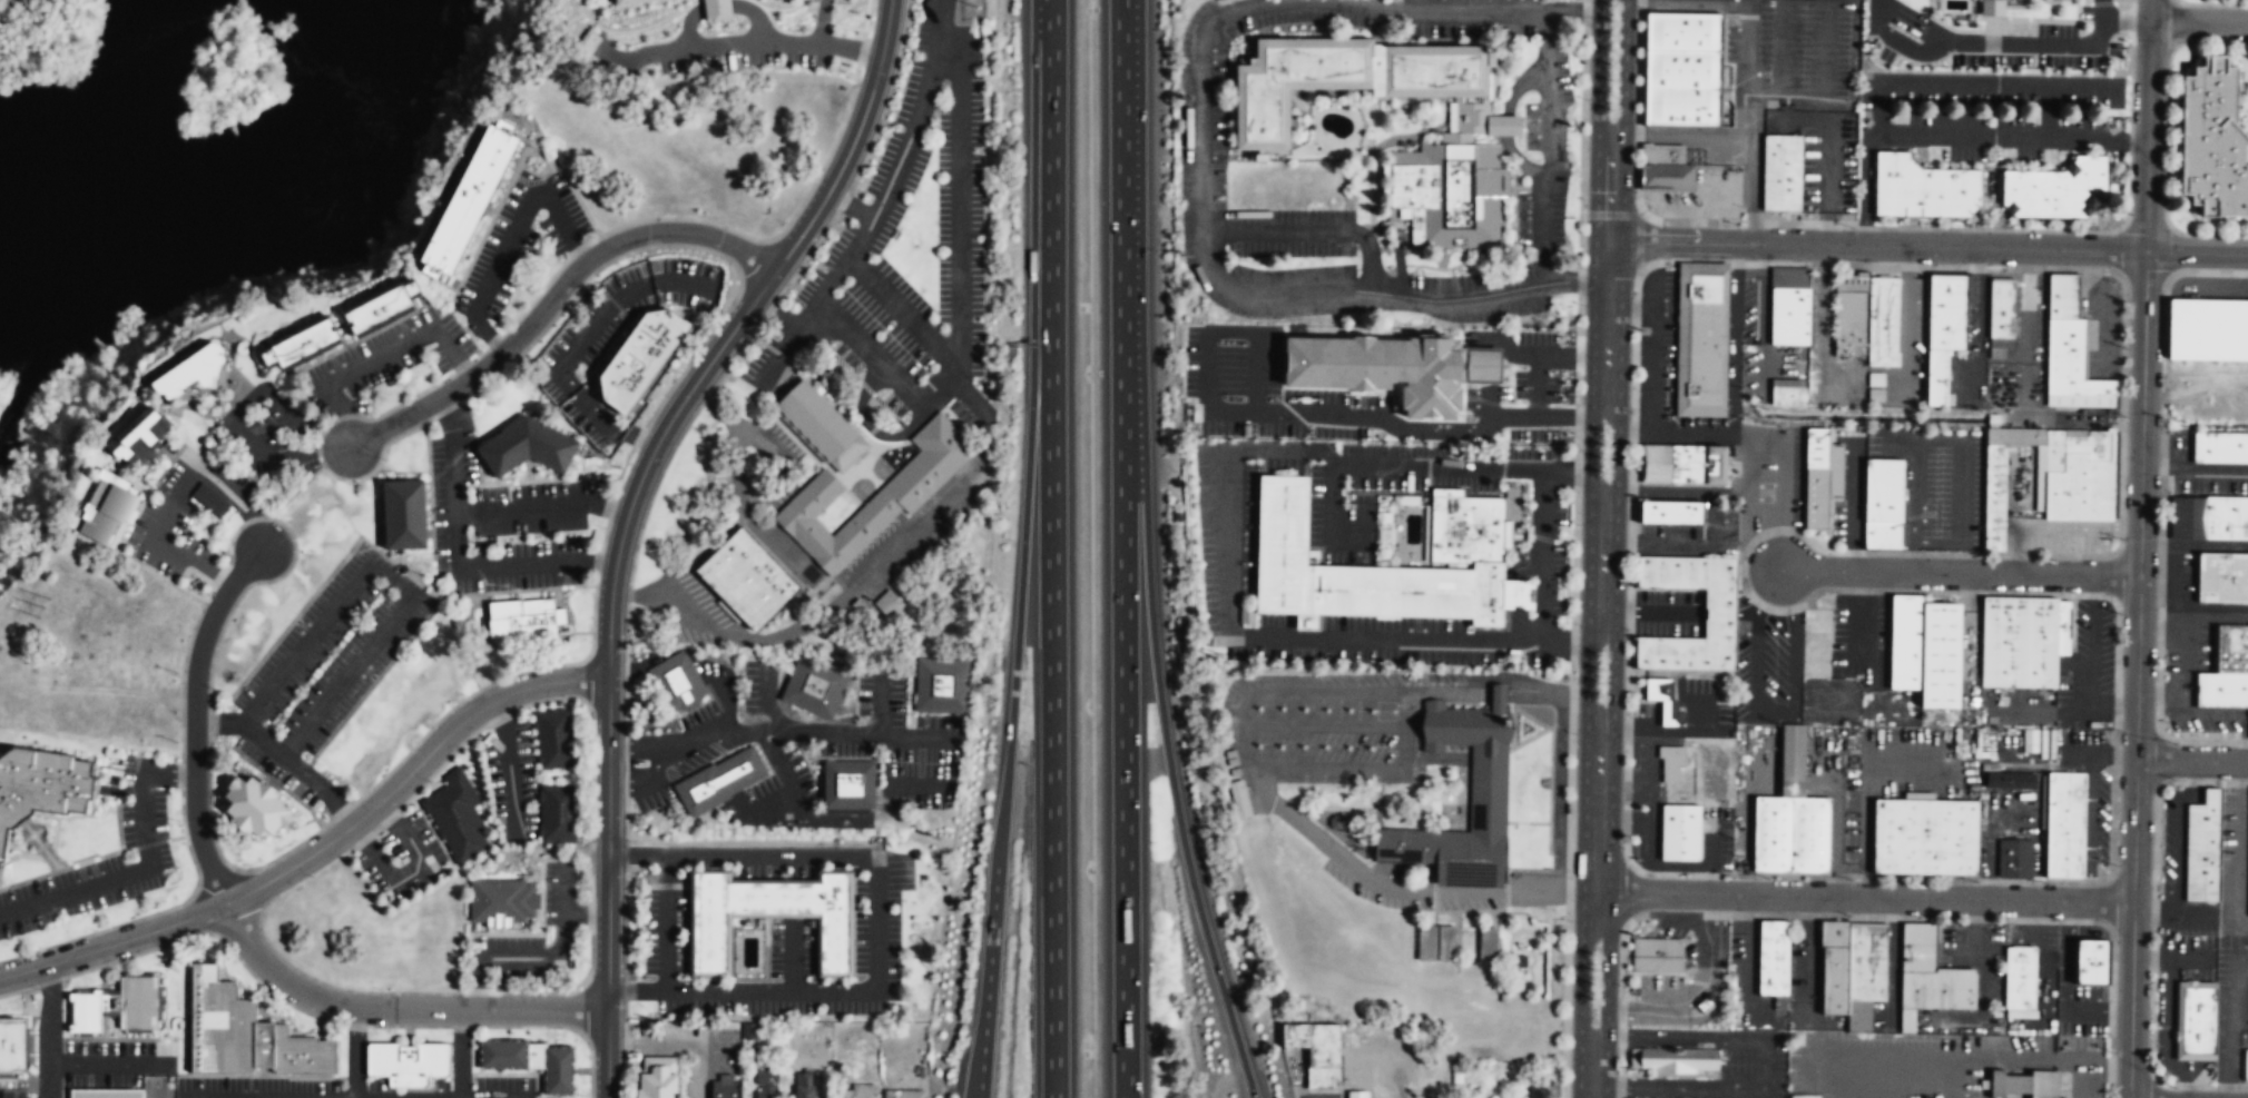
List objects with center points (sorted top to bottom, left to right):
building: (2059, 0)
building: (628, 1)
road: (1689, 3)
road: (2213, 3)
road: (1470, 8)
building: (1992, 8)
building: (715, 10)
road: (2150, 11)
road: (2127, 21)
road: (822, 23)
road: (2199, 23)
building: (1685, 32)
parking lot: (1984, 40)
road: (738, 44)
road: (1993, 44)
road: (2216, 48)
road: (1748, 49)
parking lot: (1786, 50)
building: (1683, 69)
road: (1824, 69)
road: (1596, 70)
road: (1622, 70)
road: (1964, 82)
road: (2083, 86)
road: (1581, 106)
building: (1682, 107)
road: (1745, 118)
road: (1799, 119)
road: (1951, 135)
road: (2148, 137)
road: (2167, 138)
building: (1262, 142)
building: (2211, 142)
building: (1662, 154)
parking lot: (1822, 155)
road: (1828, 166)
building: (1781, 172)
road: (733, 174)
building: (1668, 177)
building: (1925, 189)
road: (1748, 190)
building: (2055, 190)
street lamp: (1636, 192)
parking lot: (1701, 195)
road: (884, 197)
building: (469, 199)
road: (851, 206)
street lamp: (2169, 206)
river: (257, 207)
road: (1827, 228)
street lamp: (2107, 228)
road: (510, 236)
road: (1876, 246)
road: (2197, 253)
road: (1608, 275)
road: (1246, 291)
road: (552, 296)
building: (2061, 296)
street lamp: (2128, 301)
parking lot: (1755, 305)
road: (958, 306)
building: (382, 307)
road: (2026, 307)
building: (2000, 309)
road: (901, 313)
road: (1761, 313)
building: (1943, 313)
building: (1786, 316)
building: (1849, 317)
building: (1882, 322)
road: (1907, 323)
parking lot: (2100, 325)
road: (2099, 327)
building: (2207, 328)
road: (729, 334)
road: (1732, 338)
road: (1679, 340)
building: (1704, 340)
building: (304, 345)
road: (1652, 348)
parking lot: (1903, 354)
building: (639, 359)
road: (1771, 359)
building: (2069, 362)
building: (1382, 368)
parking lot: (1666, 368)
road: (2121, 373)
building: (186, 375)
building: (1934, 378)
building: (1786, 392)
street lamp: (1631, 412)
road: (2142, 414)
street lamp: (2161, 416)
road: (1678, 417)
building: (819, 427)
road: (1677, 428)
road: (1675, 432)
building: (137, 435)
building: (2013, 436)
road: (1757, 438)
road: (1962, 441)
building: (2220, 446)
building: (527, 447)
road: (1589, 454)
road: (1617, 454)
road: (781, 462)
road: (984, 463)
building: (1688, 463)
road: (2195, 474)
road: (1783, 475)
building: (2077, 475)
road: (738, 476)
building: (1818, 476)
parking lot: (1768, 478)
building: (2038, 479)
parking lot: (1934, 484)
parking lot: (1849, 488)
road: (295, 489)
road: (1745, 492)
road: (177, 494)
building: (873, 497)
road: (1853, 497)
building: (1992, 498)
building: (208, 501)
building: (1879, 504)
building: (1677, 511)
building: (107, 512)
road: (1327, 513)
building: (403, 514)
parking lot: (2041, 514)
road: (254, 517)
road: (269, 517)
building: (2185, 517)
building: (2224, 517)
road: (1677, 522)
road: (1711, 524)
building: (1467, 527)
road: (2054, 528)
road: (258, 532)
parking lot: (1692, 535)
road: (1225, 538)
street lamp: (2123, 538)
road: (1781, 540)
road: (121, 541)
road: (230, 541)
road: (1675, 542)
road: (2193, 545)
road: (1051, 548)
road: (1123, 548)
road: (1543, 555)
road: (1911, 556)
road: (885, 562)
road: (1601, 563)
road: (1960, 572)
road: (220, 573)
building: (1356, 574)
road: (220, 575)
road: (393, 577)
building: (2221, 577)
building: (746, 580)
building: (889, 605)
road: (1649, 611)
road: (2207, 612)
building: (1722, 613)
building: (1246, 615)
building: (524, 620)
street lamp: (1627, 629)
road: (1862, 632)
road: (2163, 632)
road: (736, 637)
parking lot: (1859, 639)
building: (2022, 641)
building: (1902, 643)
building: (2231, 647)
road: (1015, 649)
building: (1936, 657)
parking lot: (1769, 665)
road: (2138, 667)
road: (183, 670)
parking lot: (323, 670)
road: (347, 674)
road: (1584, 675)
road: (1612, 675)
road: (273, 682)
building: (677, 683)
building: (941, 684)
road: (485, 685)
building: (815, 686)
building: (2221, 690)
road: (2162, 691)
road: (2187, 700)
building: (1665, 701)
road: (1510, 702)
road: (1768, 711)
road: (1531, 716)
road: (196, 720)
road: (219, 722)
parking lot: (1331, 722)
road: (1323, 725)
road: (1553, 725)
road: (208, 728)
fountain: (1525, 728)
road: (1403, 730)
street lamp: (2120, 730)
road: (1668, 731)
road: (2244, 736)
building: (553, 739)
building: (2029, 741)
road: (1165, 743)
road: (1513, 746)
road: (2099, 752)
road: (1245, 759)
building: (1796, 761)
road: (2192, 761)
building: (1671, 762)
road: (1324, 768)
road: (167, 772)
road: (412, 772)
road: (180, 774)
road: (1551, 774)
building: (720, 781)
building: (2009, 781)
building: (40, 783)
parking lot: (91, 785)
building: (848, 785)
road: (116, 787)
road: (284, 788)
road: (1861, 789)
building: (1488, 797)
building: (1239, 800)
building: (255, 805)
road: (340, 807)
road: (341, 812)
building: (557, 813)
building: (457, 818)
road: (1353, 818)
road: (1380, 818)
road: (1313, 820)
building: (1335, 821)
road: (1525, 822)
road: (301, 823)
road: (1549, 823)
road: (1597, 823)
building: (2062, 824)
flagpole: (1514, 825)
road: (2090, 827)
road: (1439, 830)
road: (2180, 831)
building: (1680, 833)
building: (1776, 835)
building: (1814, 835)
road: (176, 837)
road: (1549, 838)
building: (1922, 840)
road: (149, 842)
building: (2201, 847)
road: (2241, 847)
street lamp: (1622, 848)
road: (1505, 850)
road: (670, 853)
road: (777, 853)
road: (847, 853)
building: (2013, 859)
street lamp: (2117, 864)
road: (66, 868)
road: (667, 869)
road: (213, 873)
road: (120, 874)
street lamp: (1851, 879)
street lamp: (2046, 882)
road: (565, 887)
road: (607, 888)
road: (1505, 893)
road: (1865, 898)
building: (502, 903)
road: (1499, 909)
road: (1464, 910)
road: (2171, 912)
road: (150, 913)
building: (770, 916)
road: (566, 919)
road: (1459, 920)
road: (666, 928)
road: (2132, 929)
building: (1426, 941)
road: (114, 942)
building: (1446, 942)
building: (1488, 944)
building: (1921, 947)
road: (1810, 948)
road: (2044, 951)
building: (1657, 953)
road: (793, 954)
road: (1894, 956)
road: (2170, 956)
road: (510, 957)
building: (1777, 959)
building: (1520, 960)
building: (2087, 960)
building: (1869, 965)
road: (1753, 971)
building: (2023, 978)
building: (1844, 979)
road: (665, 980)
road: (478, 982)
road: (1984, 986)
road: (2069, 986)
road: (1580, 987)
road: (1606, 988)
parking lot: (1750, 988)
road: (630, 989)
road: (834, 991)
road: (1701, 992)
building: (1938, 993)
building: (1503, 997)
building: (1783, 1002)
building: (1704, 1005)
building: (117, 1006)
road: (394, 1007)
road: (1716, 1008)
building: (2198, 1020)
road: (2229, 1025)
building: (749, 1030)
road: (48, 1031)
road: (2167, 1032)
building: (246, 1035)
building: (11, 1045)
building: (1316, 1051)
road: (355, 1052)
road: (461, 1052)
street lamp: (2112, 1052)
road: (1950, 1055)
building: (1673, 1059)
building: (533, 1060)
building: (409, 1062)
road: (106, 1064)
building: (2246, 1065)
road: (1764, 1072)
road: (1591, 1074)
building: (657, 1077)
building: (2014, 1081)
building: (2049, 1084)
building: (766, 1085)
building: (805, 1086)
building: (725, 1087)
building: (1539, 1090)
building: (856, 1091)
building: (106, 1094)
building: (904, 1095)
building: (1357, 1095)

